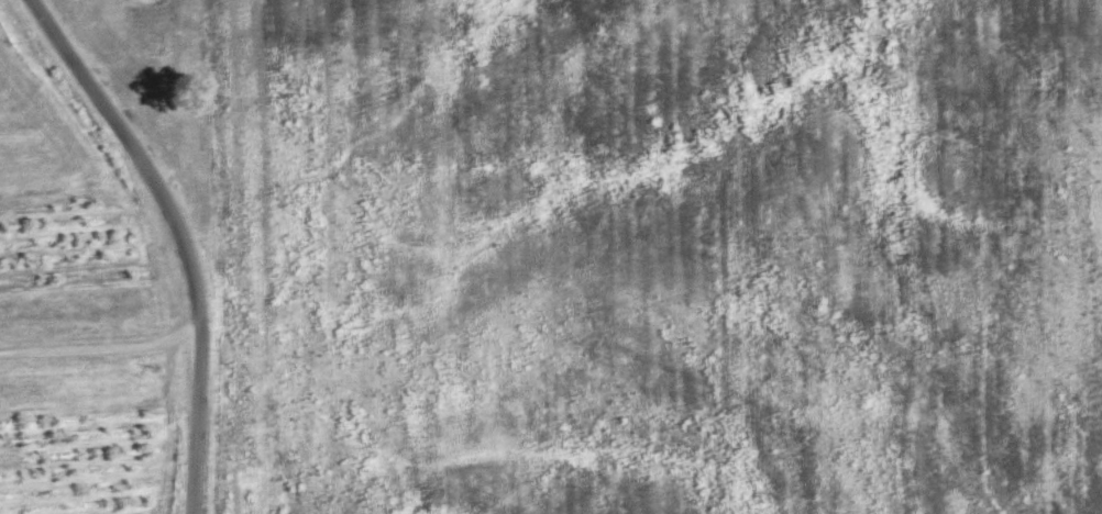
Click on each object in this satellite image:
road: (184, 237)
crop: (916, 255)
road: (102, 347)

